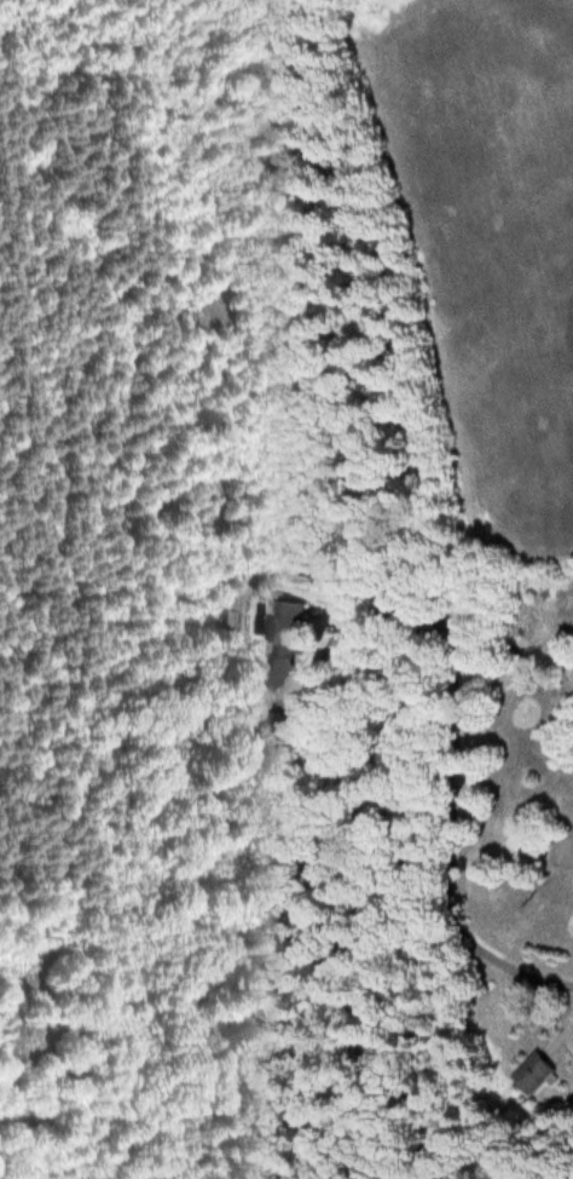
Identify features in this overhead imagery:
building: (283, 648)
building: (533, 1075)

